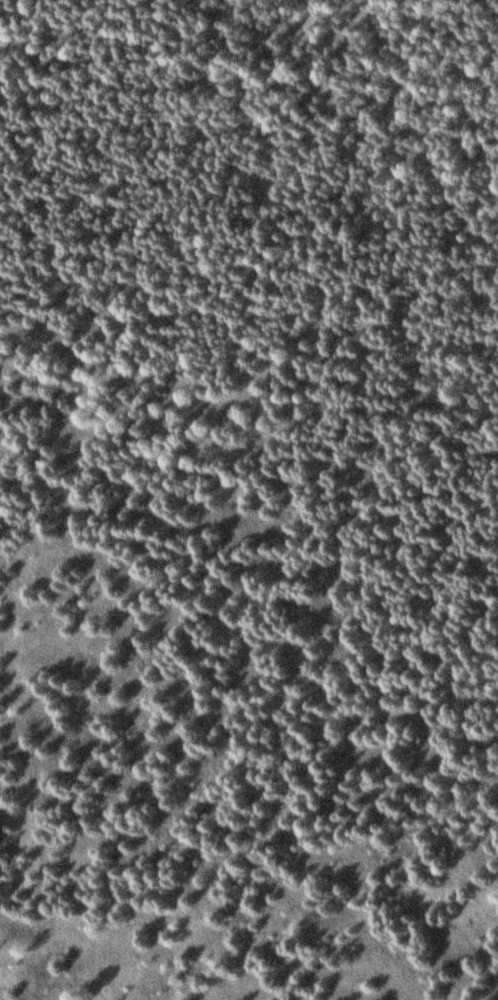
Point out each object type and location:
road: (381, 895)

